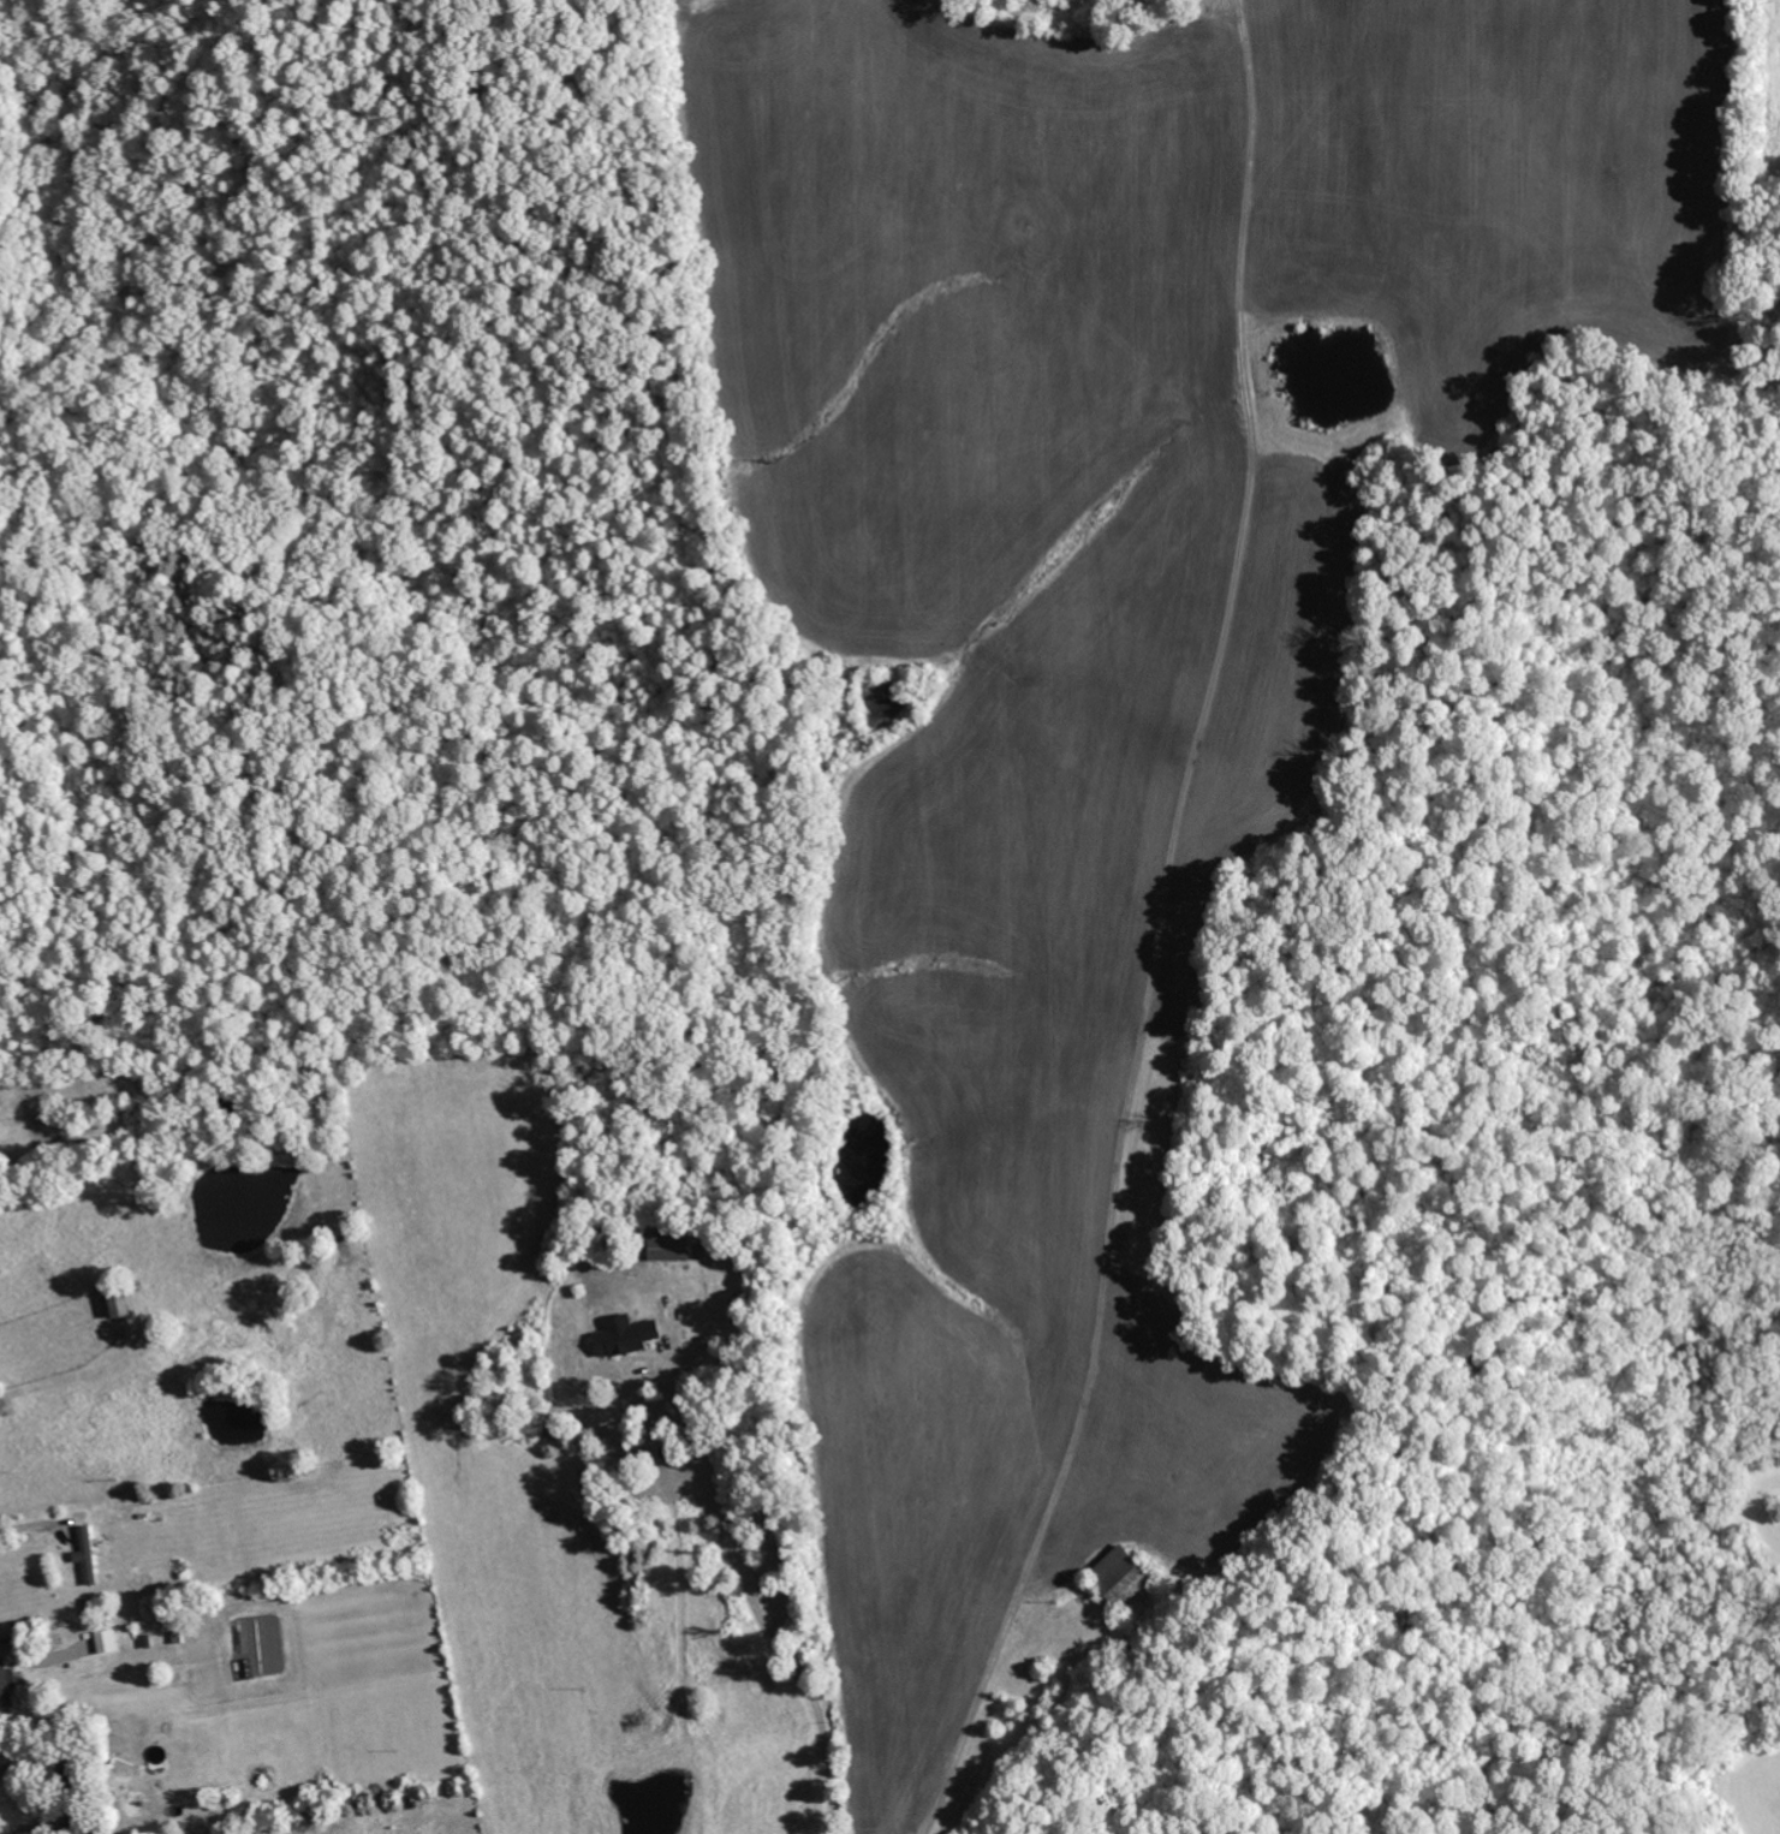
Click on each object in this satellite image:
building: (675, 1245)
building: (708, 1249)
building: (630, 1334)
building: (90, 1552)
building: (1125, 1573)
road: (760, 1606)
building: (7, 1685)

